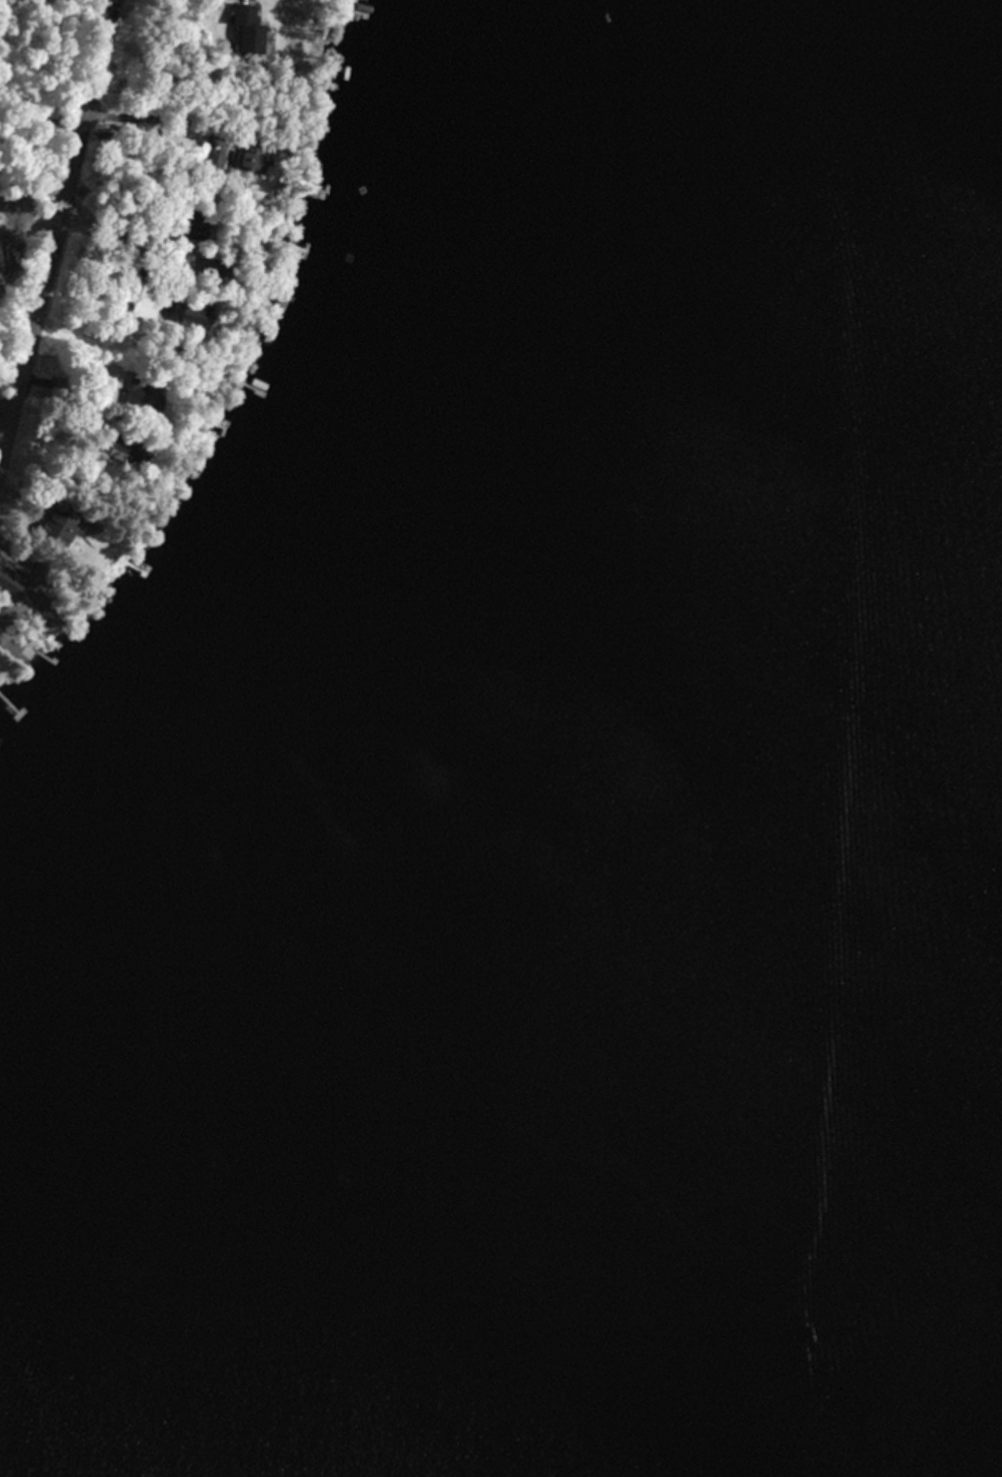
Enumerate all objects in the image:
building: (257, 159)
building: (216, 160)
road: (66, 246)
building: (202, 315)
building: (147, 390)

